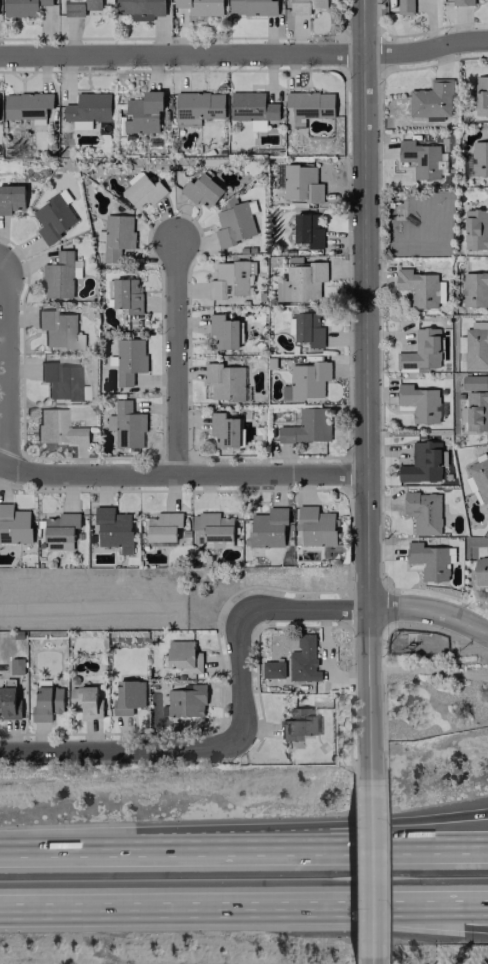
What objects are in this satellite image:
building: (462, 2)
building: (81, 6)
building: (307, 6)
building: (404, 6)
building: (22, 7)
building: (201, 7)
building: (252, 7)
building: (140, 8)
road: (244, 53)
building: (432, 99)
building: (26, 105)
building: (309, 105)
building: (197, 107)
building: (252, 108)
building: (87, 109)
building: (143, 112)
building: (423, 158)
building: (479, 158)
building: (301, 183)
building: (201, 190)
building: (143, 191)
building: (11, 198)
building: (54, 216)
building: (233, 224)
building: (475, 229)
building: (307, 230)
building: (117, 236)
road: (4, 255)
building: (59, 275)
building: (230, 278)
building: (301, 281)
building: (420, 287)
building: (474, 289)
building: (124, 294)
building: (58, 329)
building: (308, 329)
building: (224, 331)
building: (476, 345)
building: (422, 350)
road: (175, 357)
building: (129, 359)
road: (7, 361)
building: (59, 380)
building: (306, 380)
building: (225, 382)
building: (473, 382)
road: (364, 389)
building: (419, 402)
building: (475, 411)
building: (126, 424)
building: (307, 426)
building: (57, 427)
building: (225, 430)
building: (422, 462)
road: (181, 473)
building: (478, 478)
building: (423, 511)
building: (14, 524)
building: (163, 526)
building: (316, 526)
building: (212, 527)
building: (268, 527)
building: (113, 529)
building: (60, 530)
building: (430, 560)
building: (480, 570)
road: (372, 607)
building: (183, 656)
building: (303, 659)
building: (16, 665)
building: (273, 669)
road: (427, 671)
road: (238, 672)
building: (128, 696)
building: (85, 701)
building: (186, 701)
building: (47, 702)
building: (9, 703)
building: (295, 723)
road: (117, 748)
road: (297, 831)
road: (297, 844)
road: (53, 845)
road: (370, 868)
road: (143, 908)
road: (387, 910)
road: (387, 919)
road: (371, 960)

